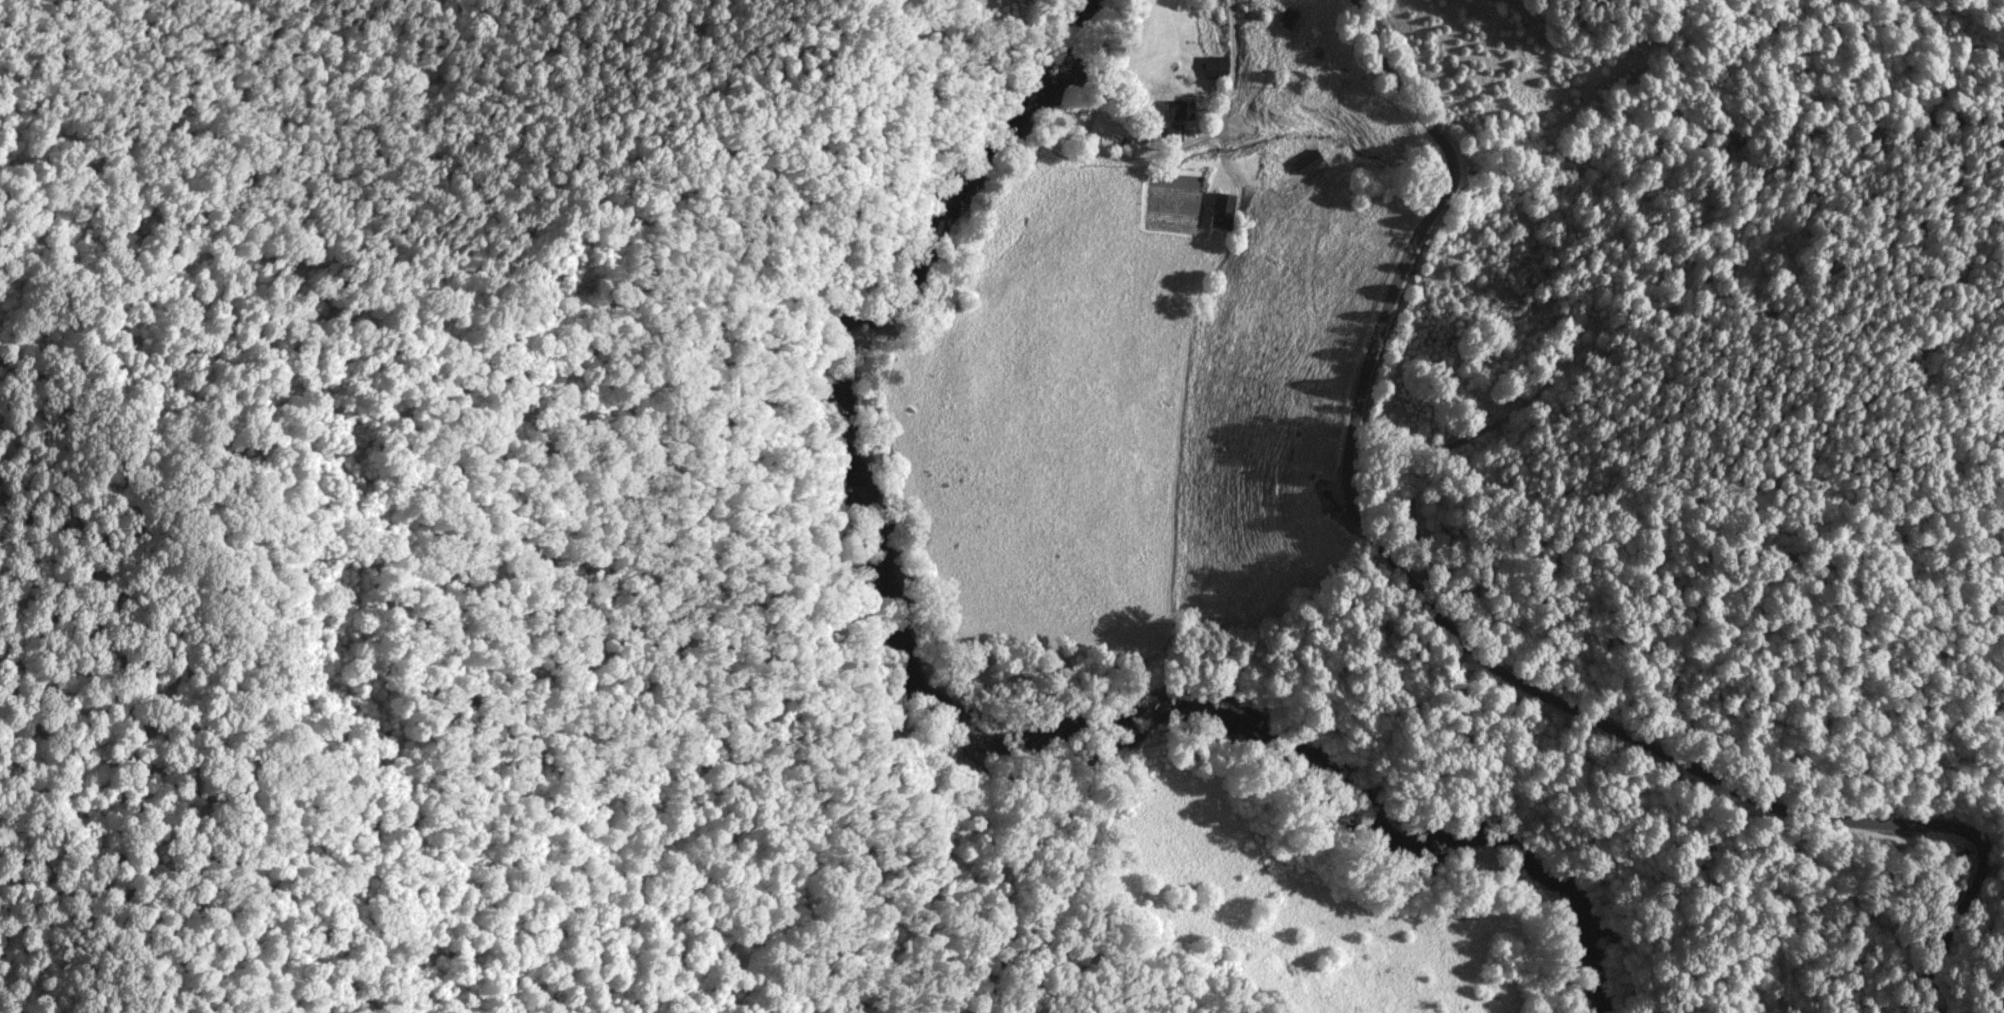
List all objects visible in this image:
building: (1287, 16)
road: (1218, 49)
building: (1215, 65)
building: (1179, 109)
building: (1307, 159)
building: (1222, 210)
road: (1493, 616)
road: (1427, 618)

